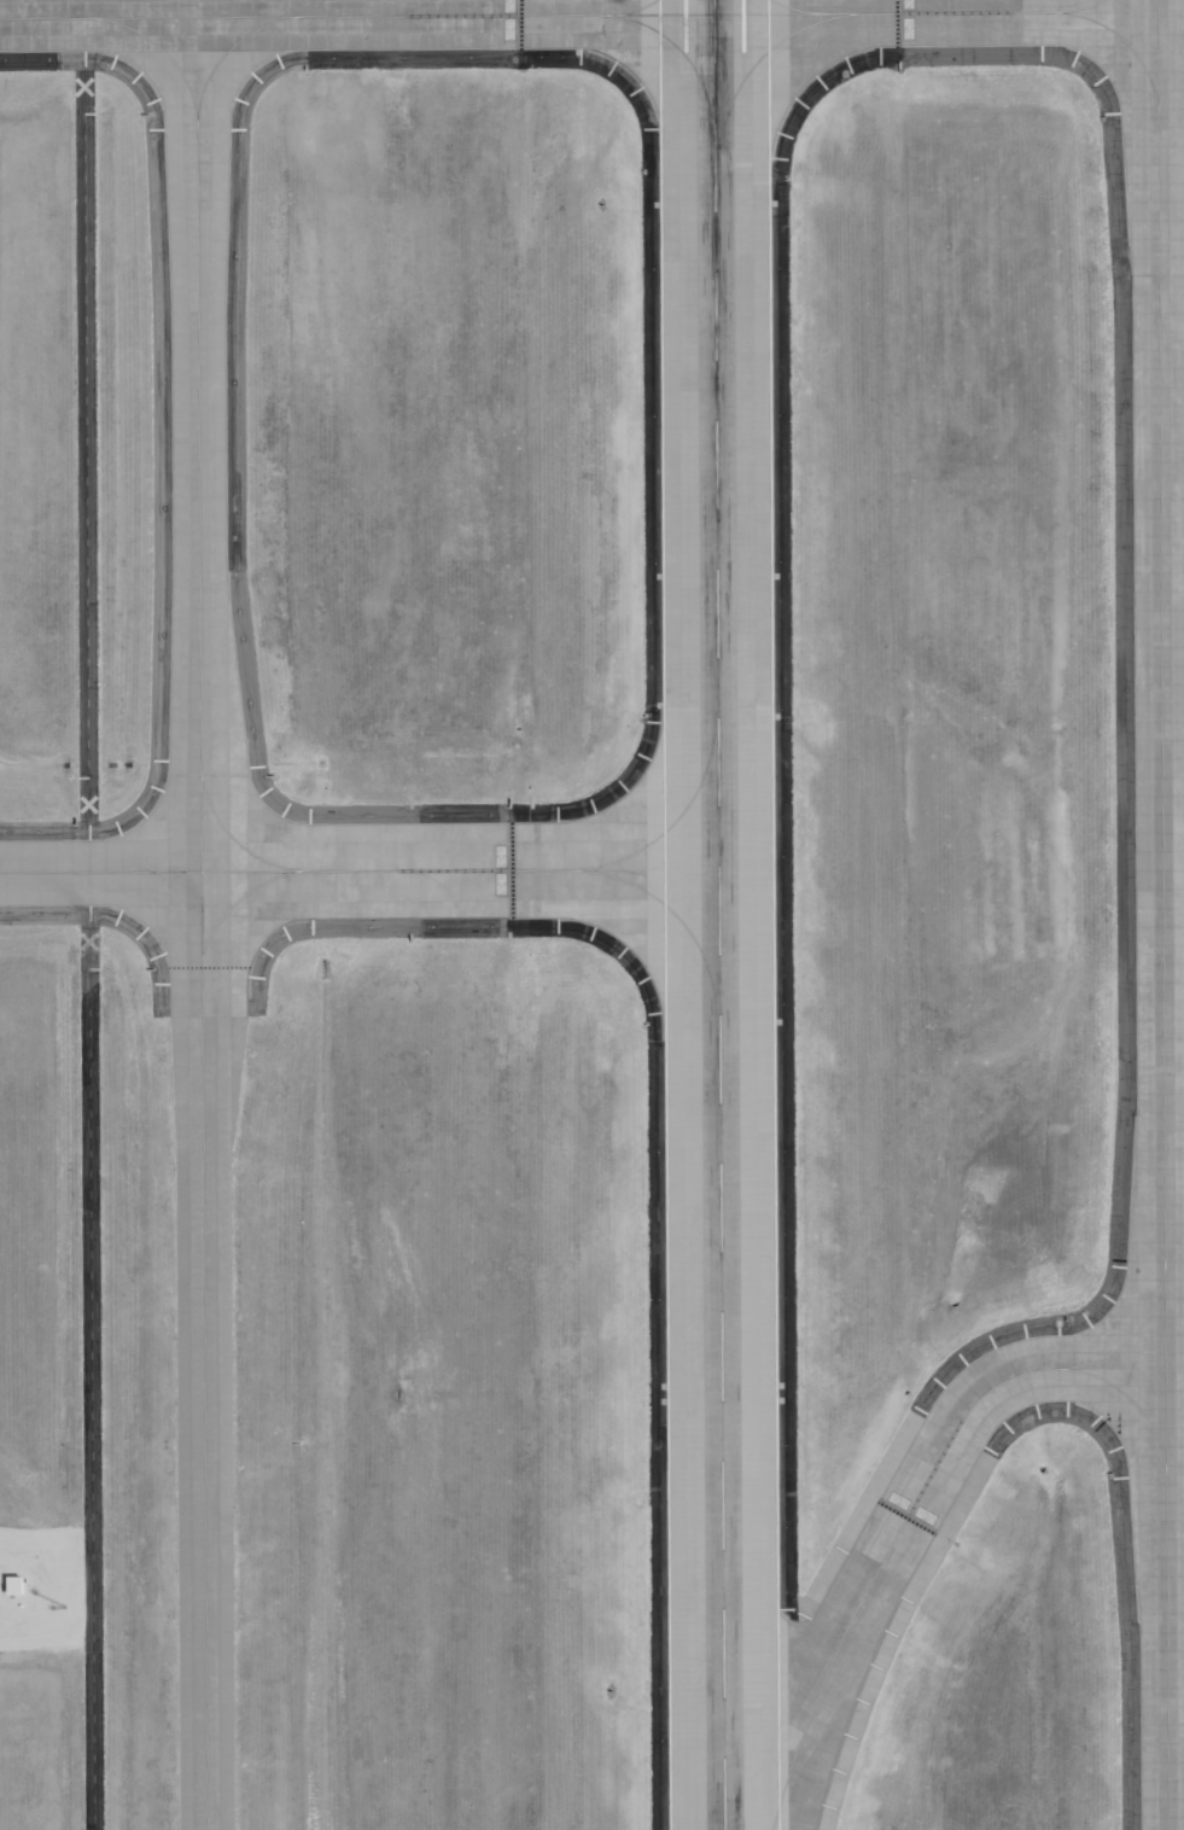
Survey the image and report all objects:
airport taxiway: (578, 14)
airport taxiway: (358, 869)
road: (87, 914)
airport taxiway: (1162, 914)
airport: (591, 915)
airport runway: (718, 915)
airport taxiway: (200, 923)
airport taxiway: (1132, 1335)
airport taxiway: (1130, 1400)
road: (46, 1490)
airport taxiway: (879, 1566)
building: (16, 1587)

